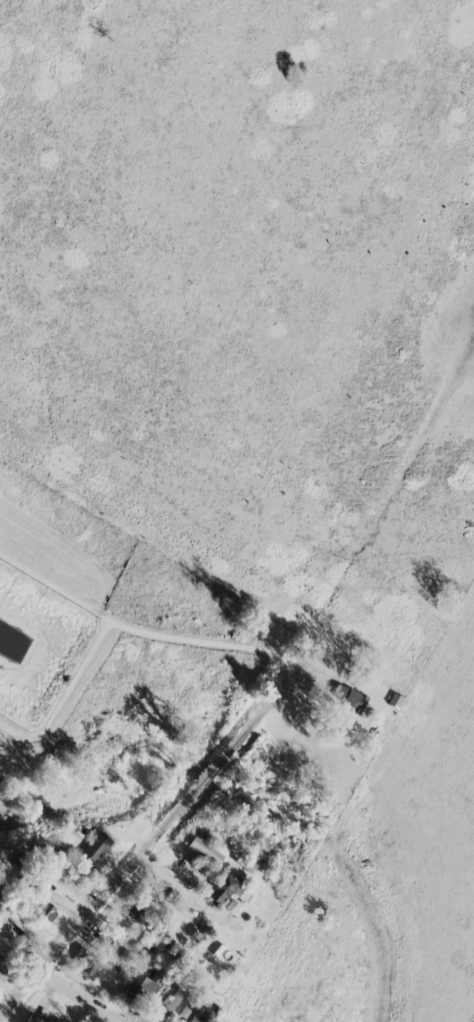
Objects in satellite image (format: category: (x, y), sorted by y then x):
road: (141, 637)
building: (346, 698)
road: (154, 836)
building: (93, 848)
building: (203, 850)
building: (242, 863)
road: (179, 884)
building: (59, 887)
building: (220, 888)
building: (229, 907)
building: (43, 911)
building: (134, 916)
building: (16, 922)
building: (152, 941)
building: (3, 947)
building: (83, 966)
building: (2, 972)
building: (139, 988)
road: (87, 994)
building: (170, 1000)
building: (182, 1012)
building: (202, 1014)
building: (31, 1019)

